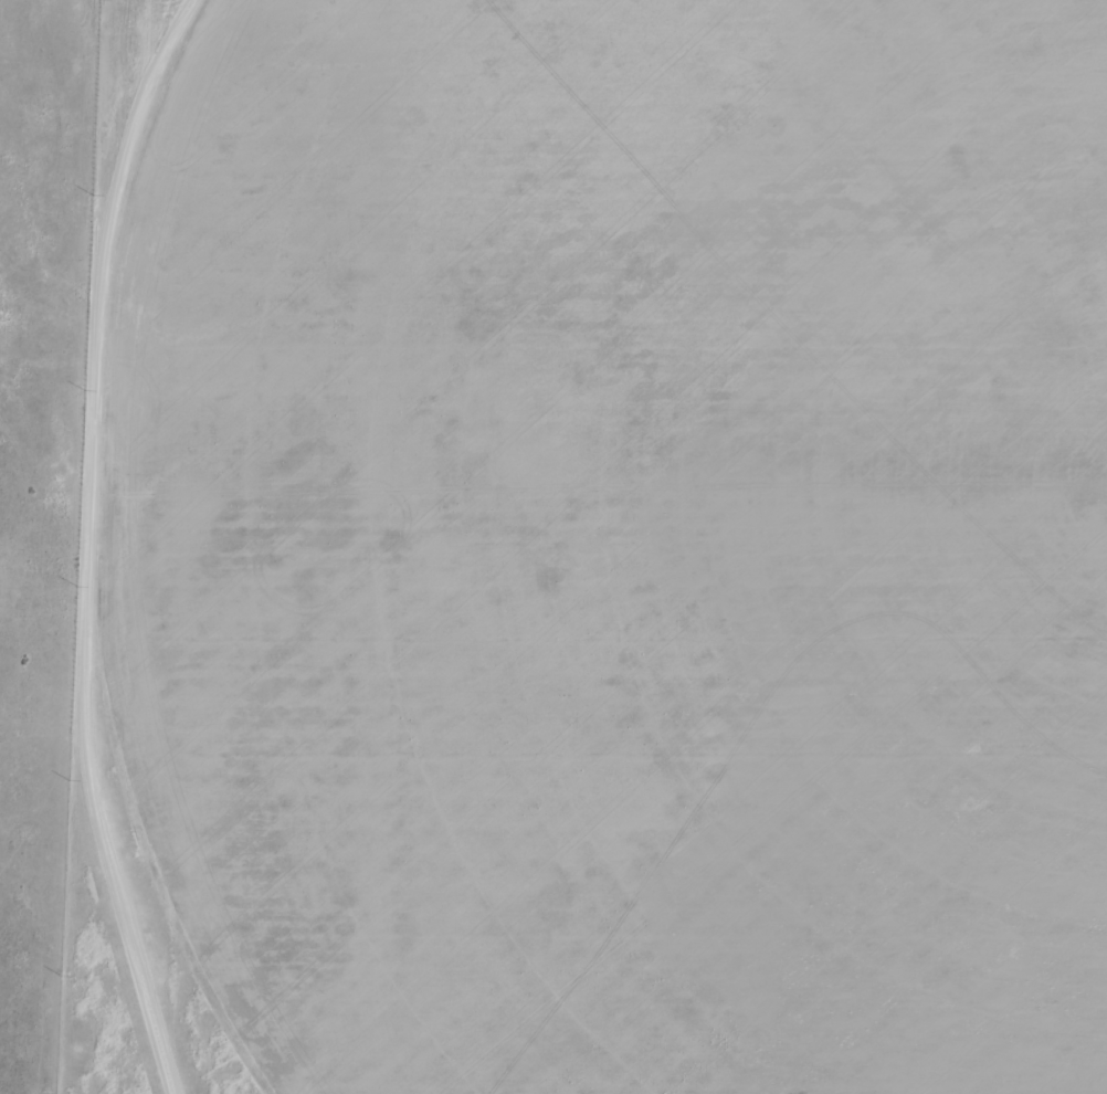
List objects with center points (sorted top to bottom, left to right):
crop: (649, 540)
road: (129, 546)

